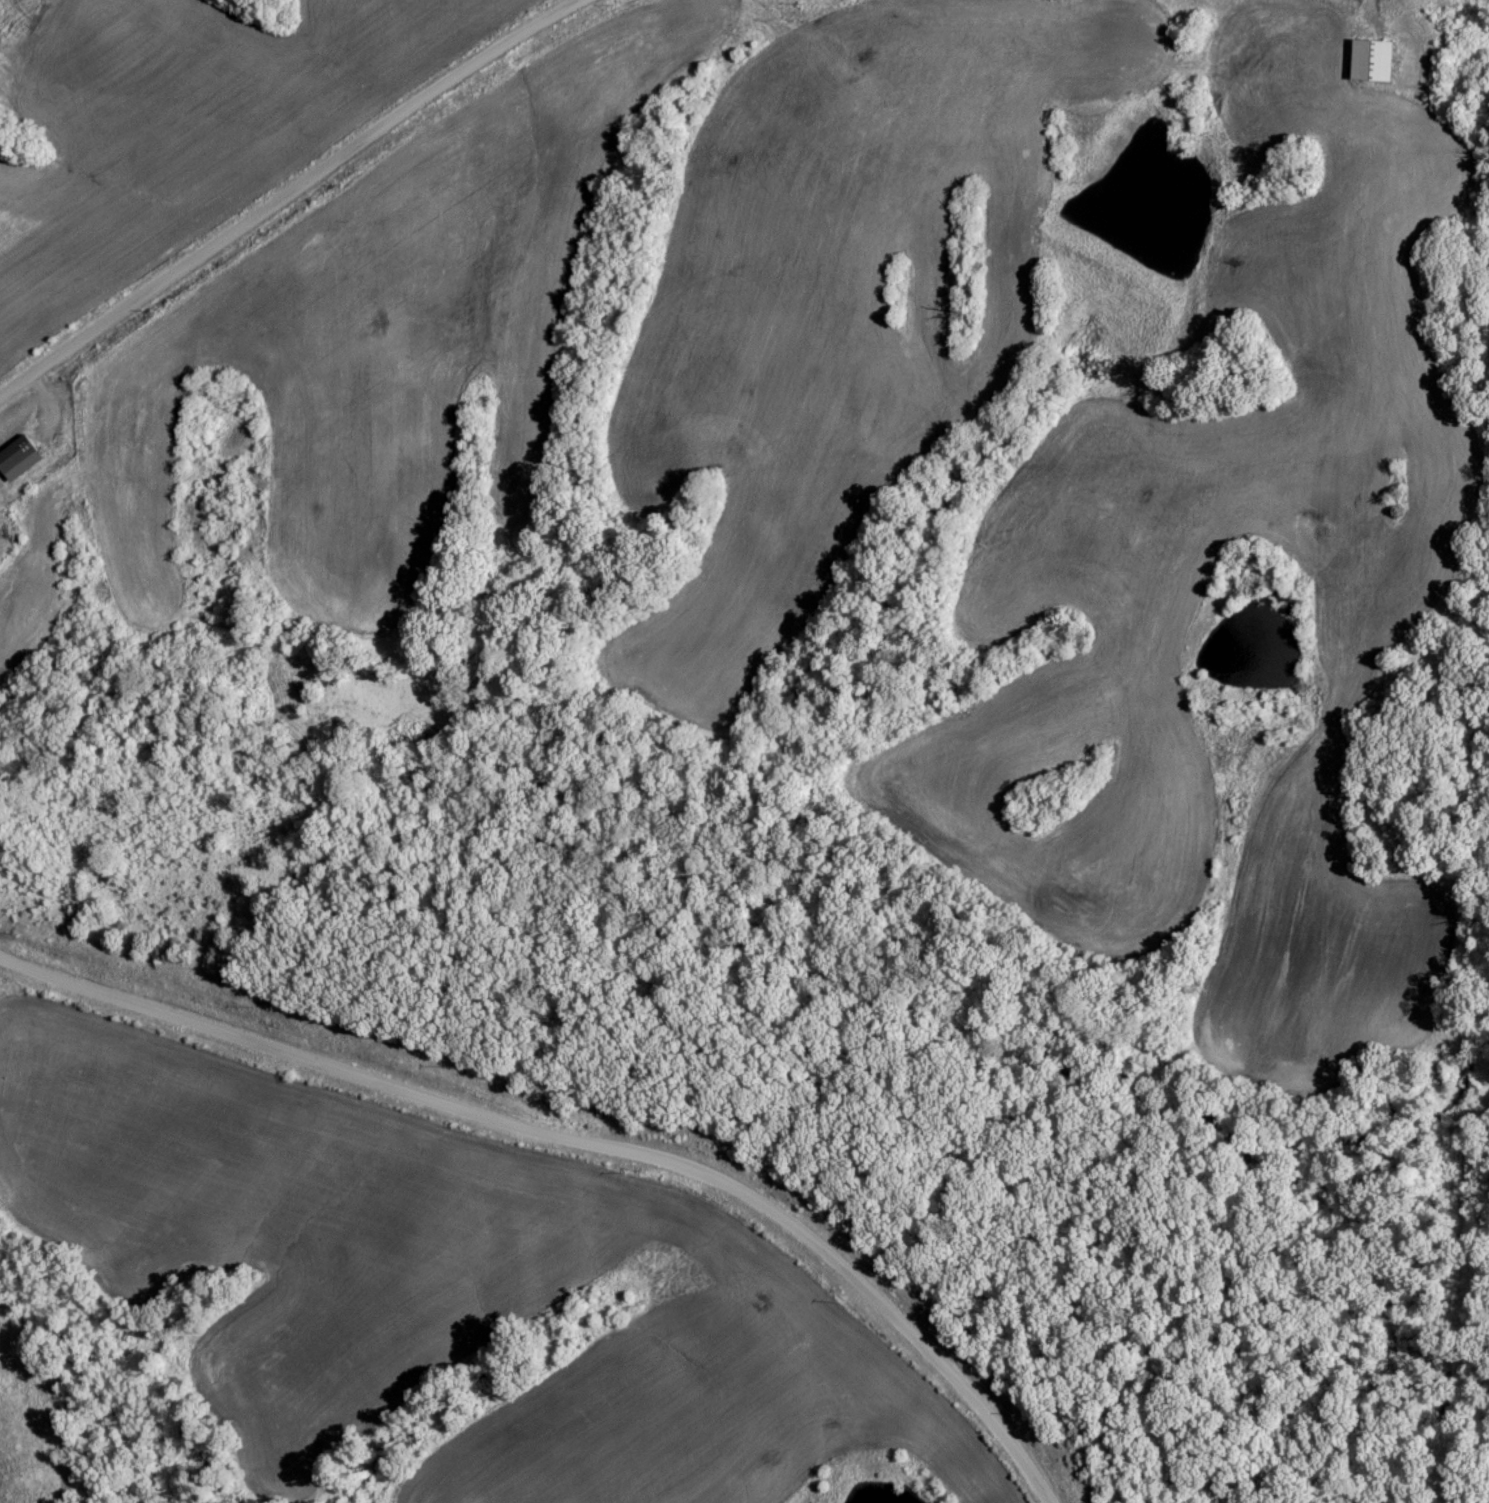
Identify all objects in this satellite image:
building: (1374, 60)
road: (294, 189)
building: (20, 458)
road: (577, 1144)

